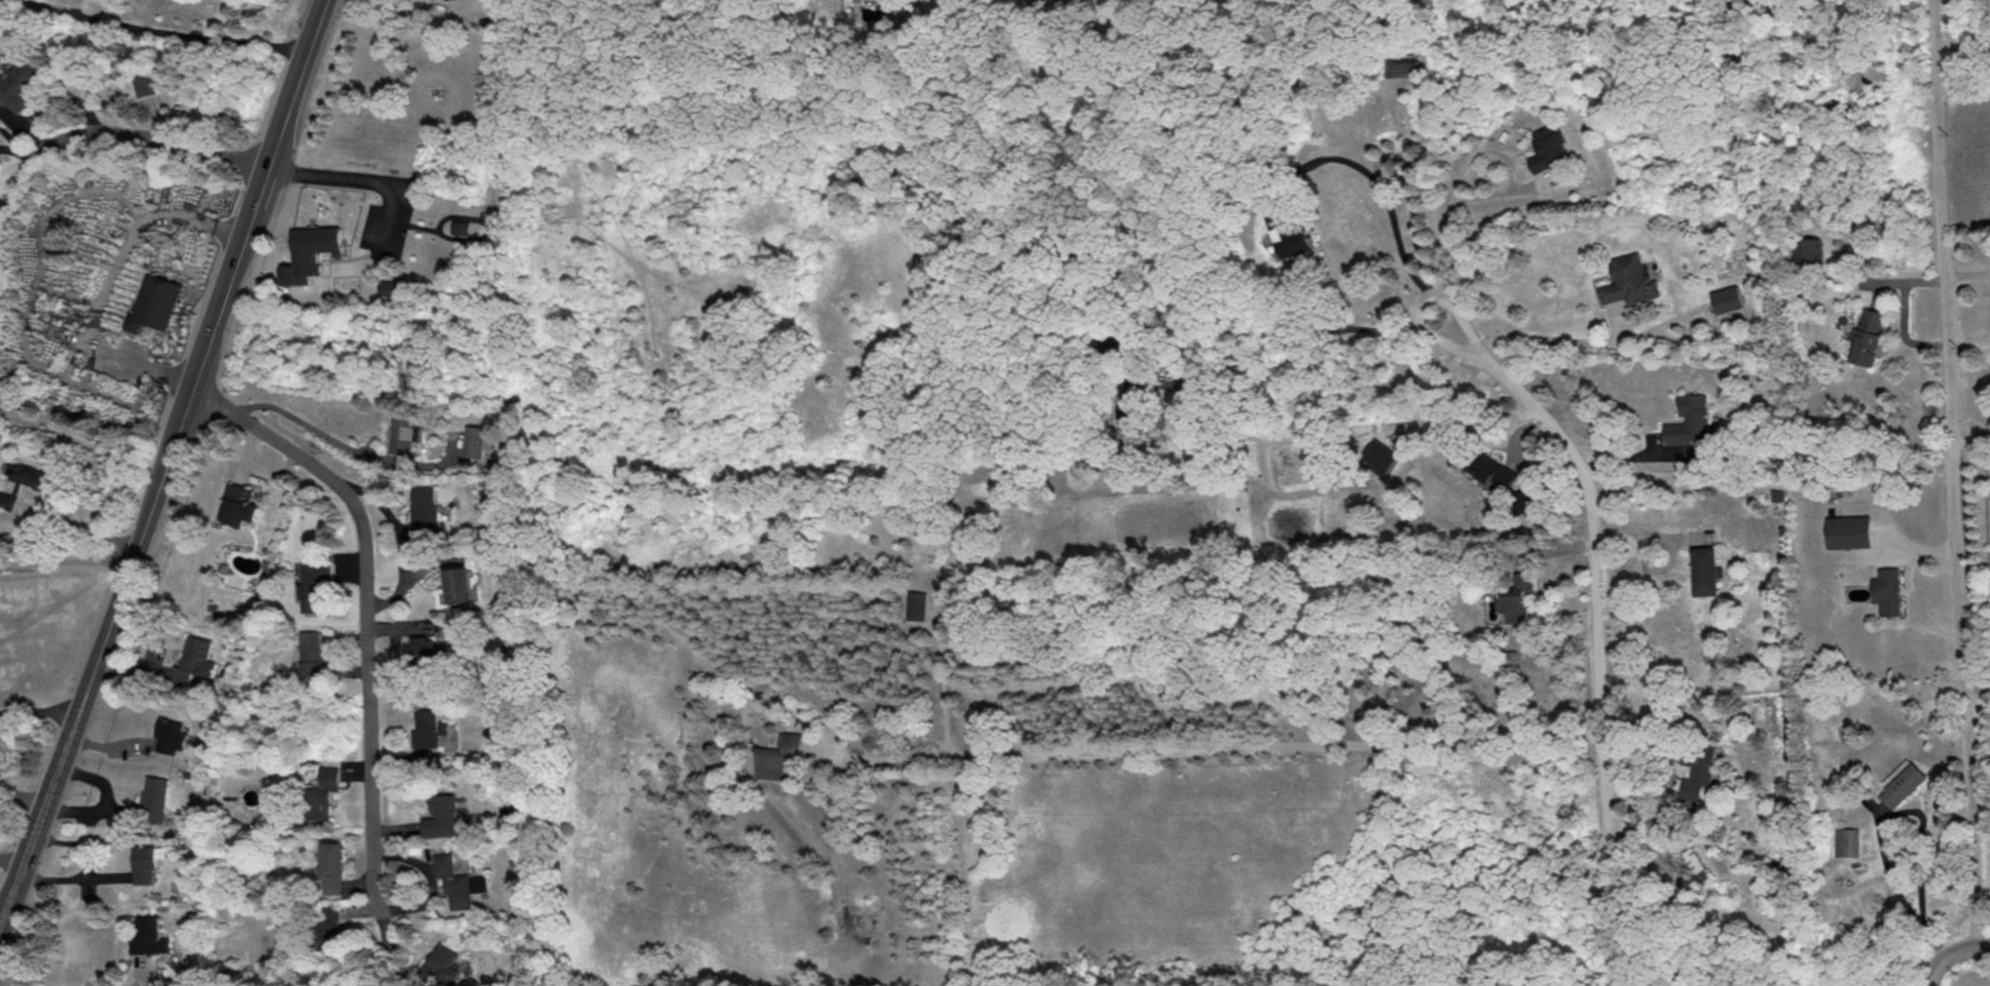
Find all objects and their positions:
road: (158, 31)
road: (306, 58)
building: (1401, 66)
road: (1961, 76)
building: (26, 83)
building: (147, 84)
road: (114, 132)
building: (1550, 147)
road: (288, 169)
road: (266, 172)
road: (374, 179)
road: (1380, 185)
road: (1445, 223)
building: (461, 226)
building: (1295, 239)
building: (1809, 250)
road: (110, 277)
building: (1630, 279)
building: (394, 287)
road: (1422, 297)
building: (1728, 298)
building: (156, 302)
road: (221, 307)
building: (1866, 337)
road: (1553, 338)
road: (1314, 345)
building: (1135, 412)
road: (1470, 418)
road: (299, 419)
building: (1690, 420)
building: (405, 432)
road: (1971, 435)
building: (477, 439)
road: (174, 443)
building: (1381, 456)
building: (1492, 469)
road: (1952, 471)
building: (27, 473)
building: (6, 498)
building: (1526, 500)
building: (240, 504)
building: (423, 511)
road: (87, 525)
building: (1849, 531)
road: (66, 559)
building: (1705, 570)
building: (315, 584)
building: (459, 585)
building: (1887, 590)
building: (1518, 598)
building: (916, 604)
road: (115, 607)
road: (363, 607)
building: (424, 647)
building: (312, 652)
road: (1596, 653)
building: (196, 659)
road: (1976, 685)
road: (38, 708)
building: (429, 728)
building: (172, 735)
road: (1203, 746)
building: (778, 755)
building: (1698, 768)
road: (55, 775)
building: (1901, 782)
building: (324, 792)
building: (155, 798)
building: (442, 816)
building: (1845, 841)
road: (75, 842)
road: (28, 850)
road: (11, 860)
building: (147, 862)
building: (1696, 863)
building: (335, 865)
road: (21, 869)
road: (72, 875)
building: (457, 880)
road: (9, 899)
building: (334, 926)
building: (151, 936)
road: (1952, 956)
building: (442, 965)

